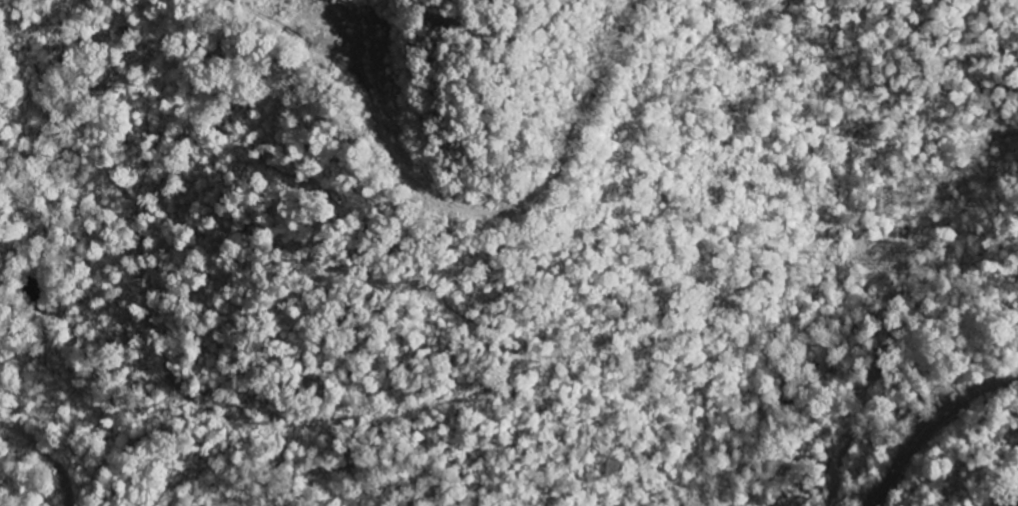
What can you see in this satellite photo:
road: (930, 425)

